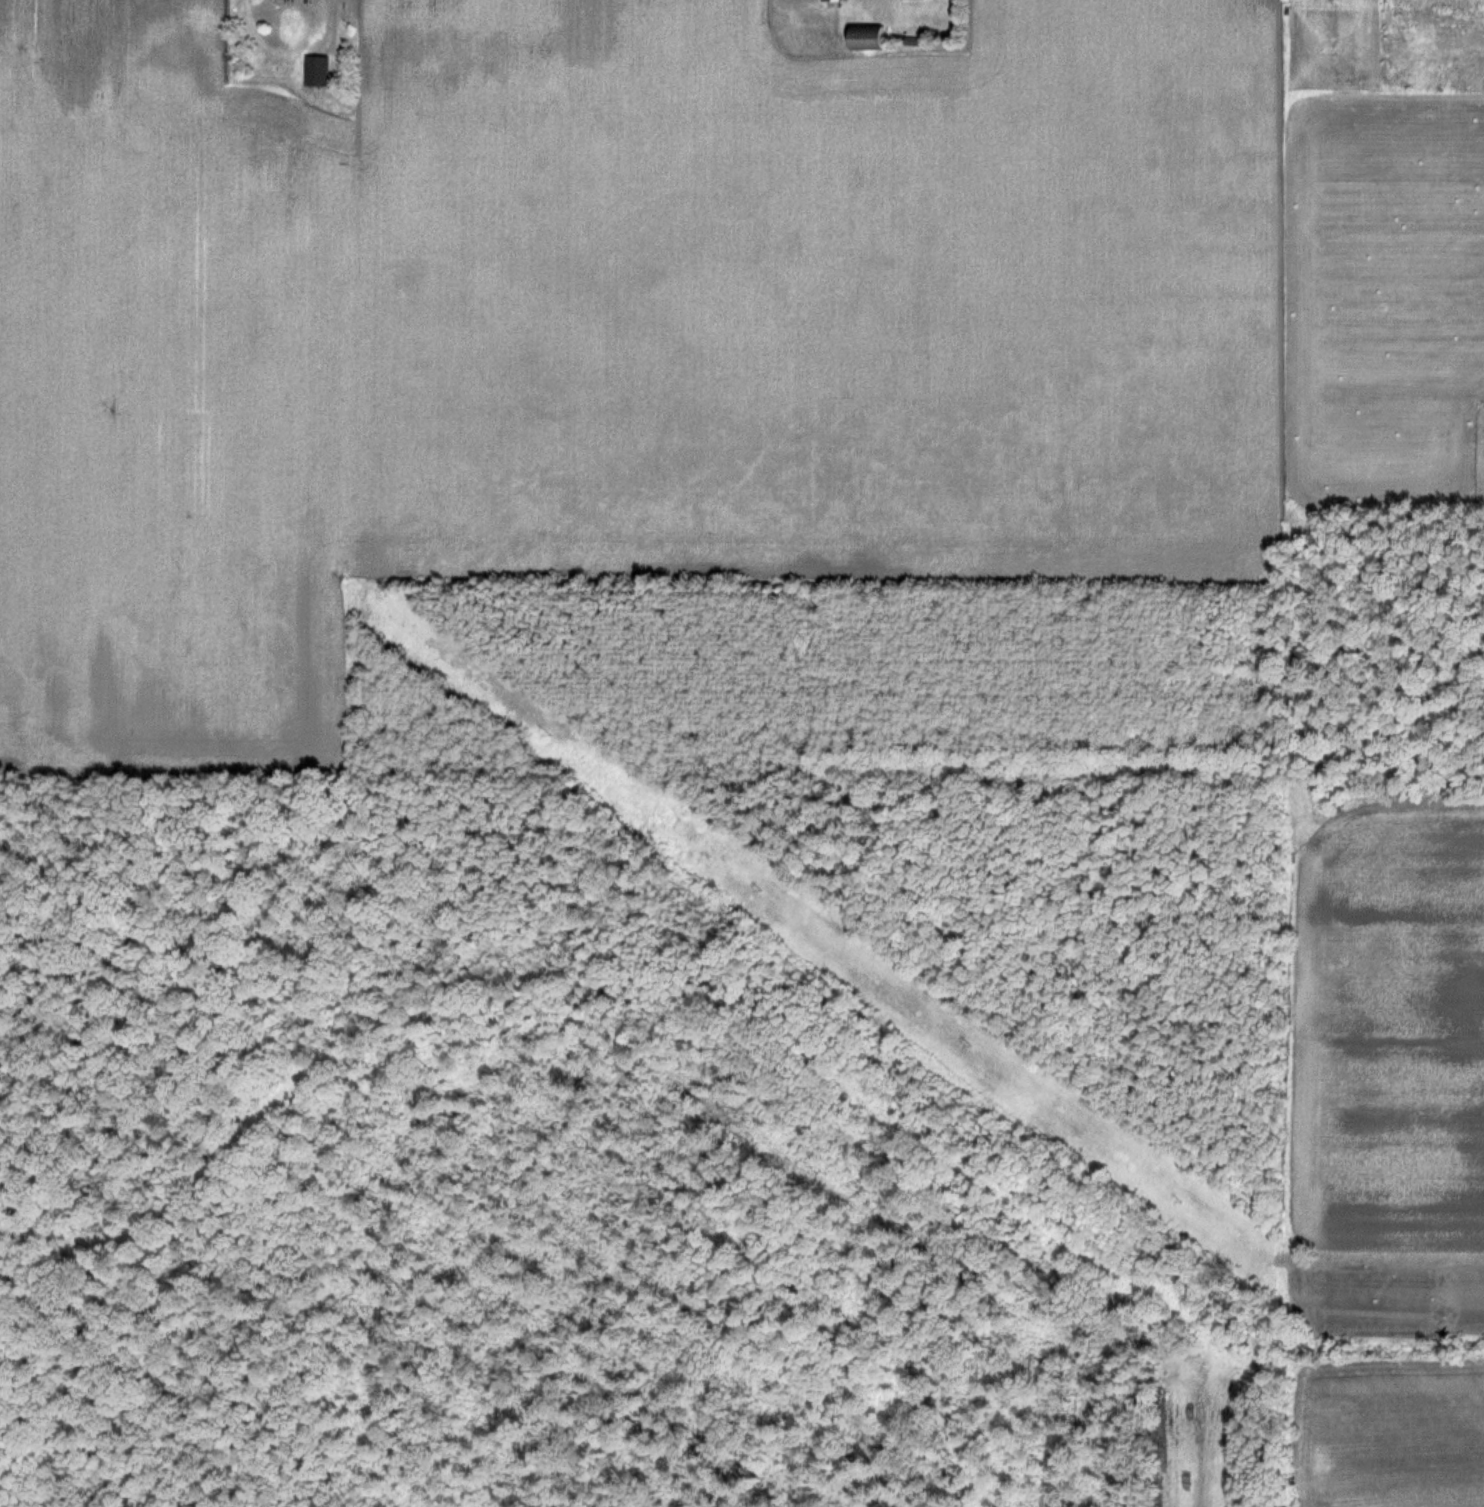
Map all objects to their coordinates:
building: (320, 72)

